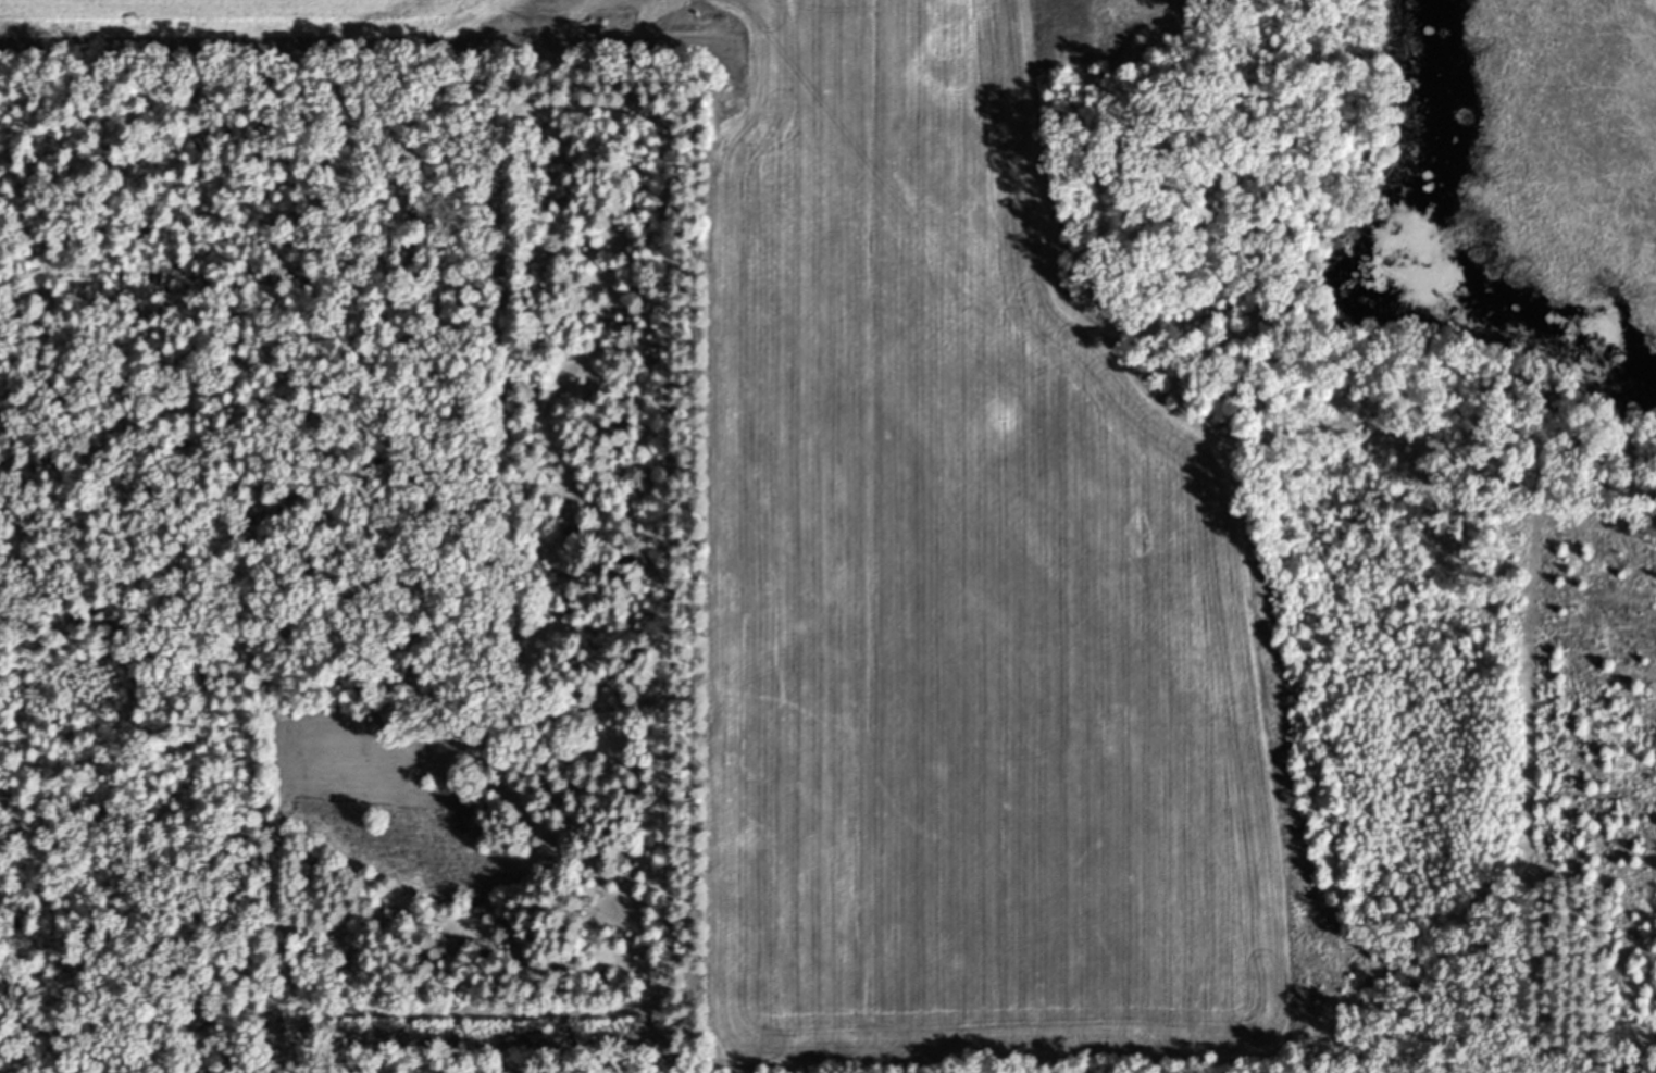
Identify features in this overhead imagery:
road: (319, 47)

